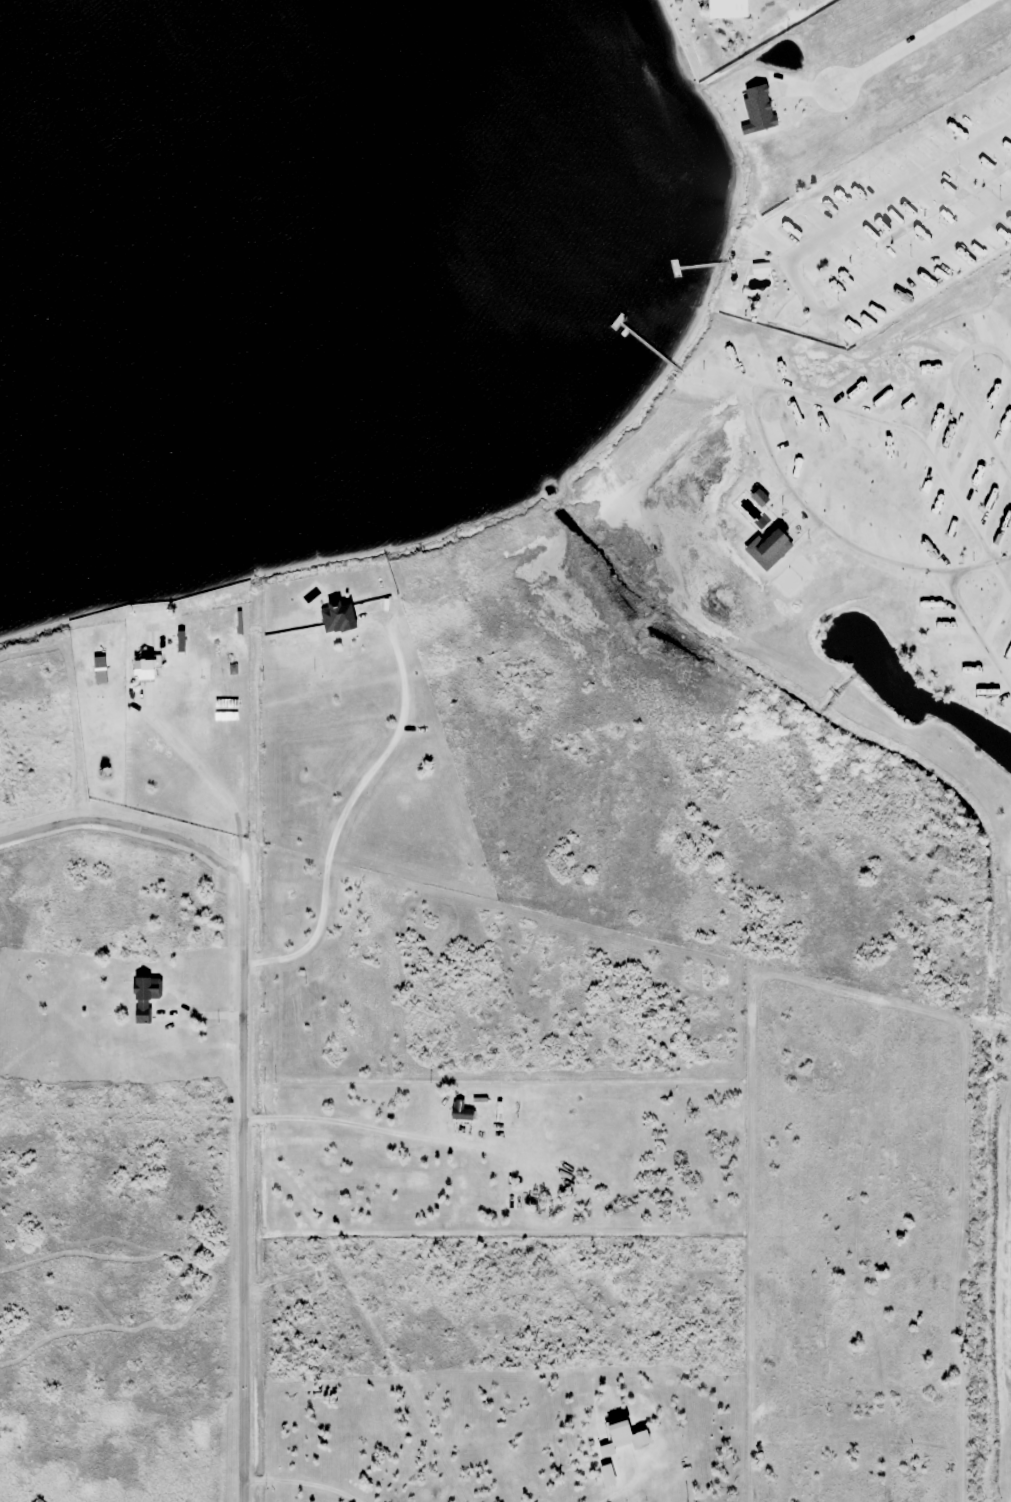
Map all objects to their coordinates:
building: (725, 9)
building: (760, 268)
road: (789, 273)
building: (336, 617)
building: (142, 668)
road: (344, 807)
road: (123, 825)
building: (145, 997)
road: (196, 1014)
road: (241, 1097)
building: (461, 1111)
building: (622, 1438)
building: (607, 1475)
road: (301, 1481)
road: (624, 1485)

